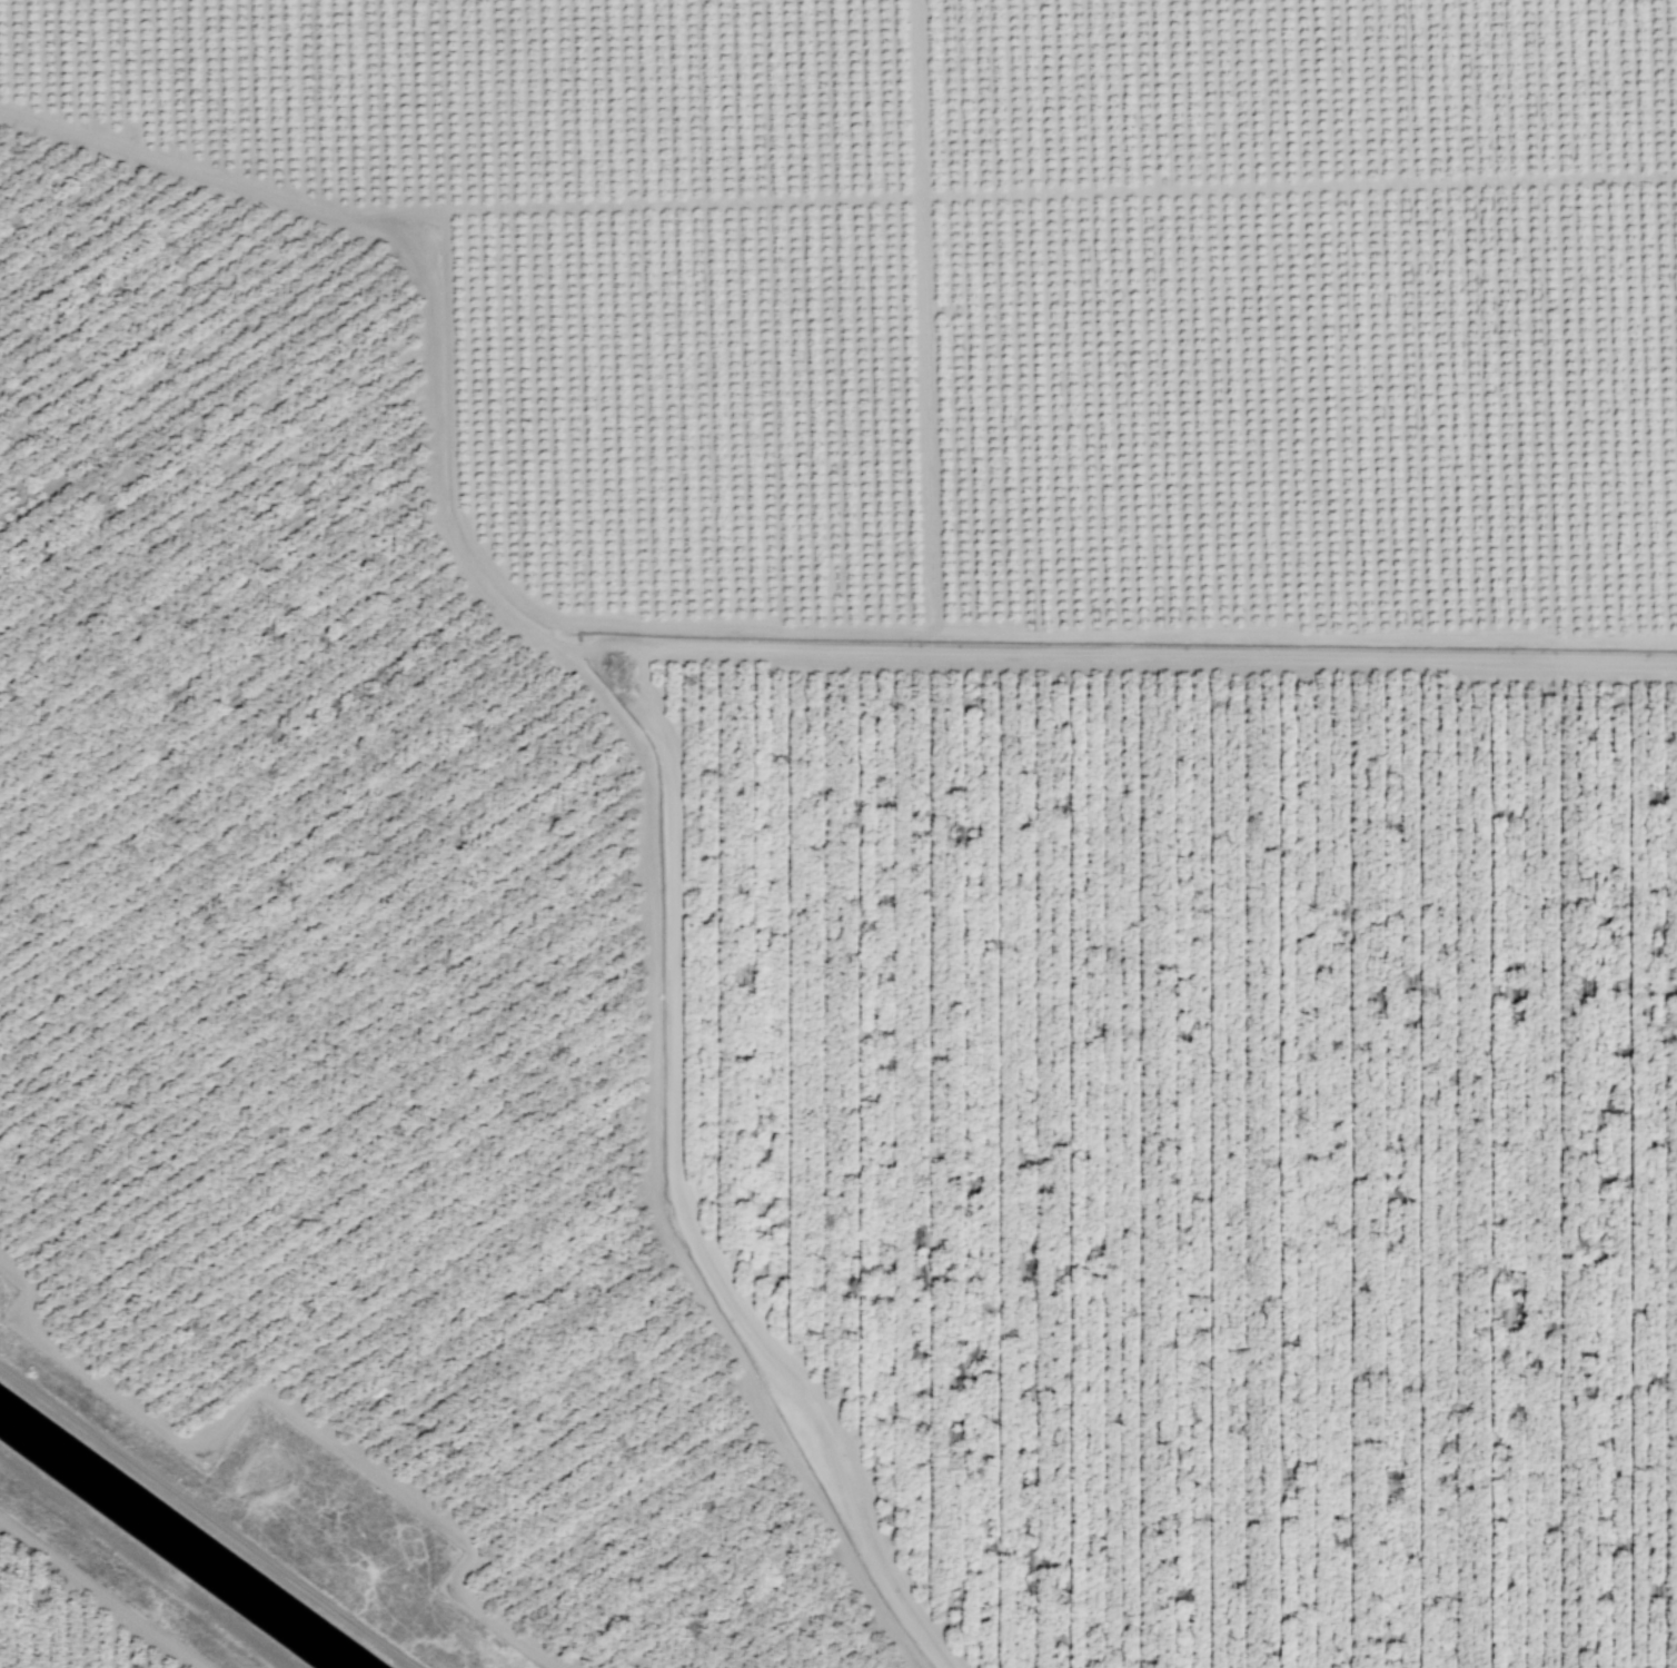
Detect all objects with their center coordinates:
road: (1020, 192)
road: (927, 315)
road: (889, 629)
road: (1119, 655)
road: (631, 739)
road: (676, 1191)
road: (290, 1412)
road: (100, 1595)

